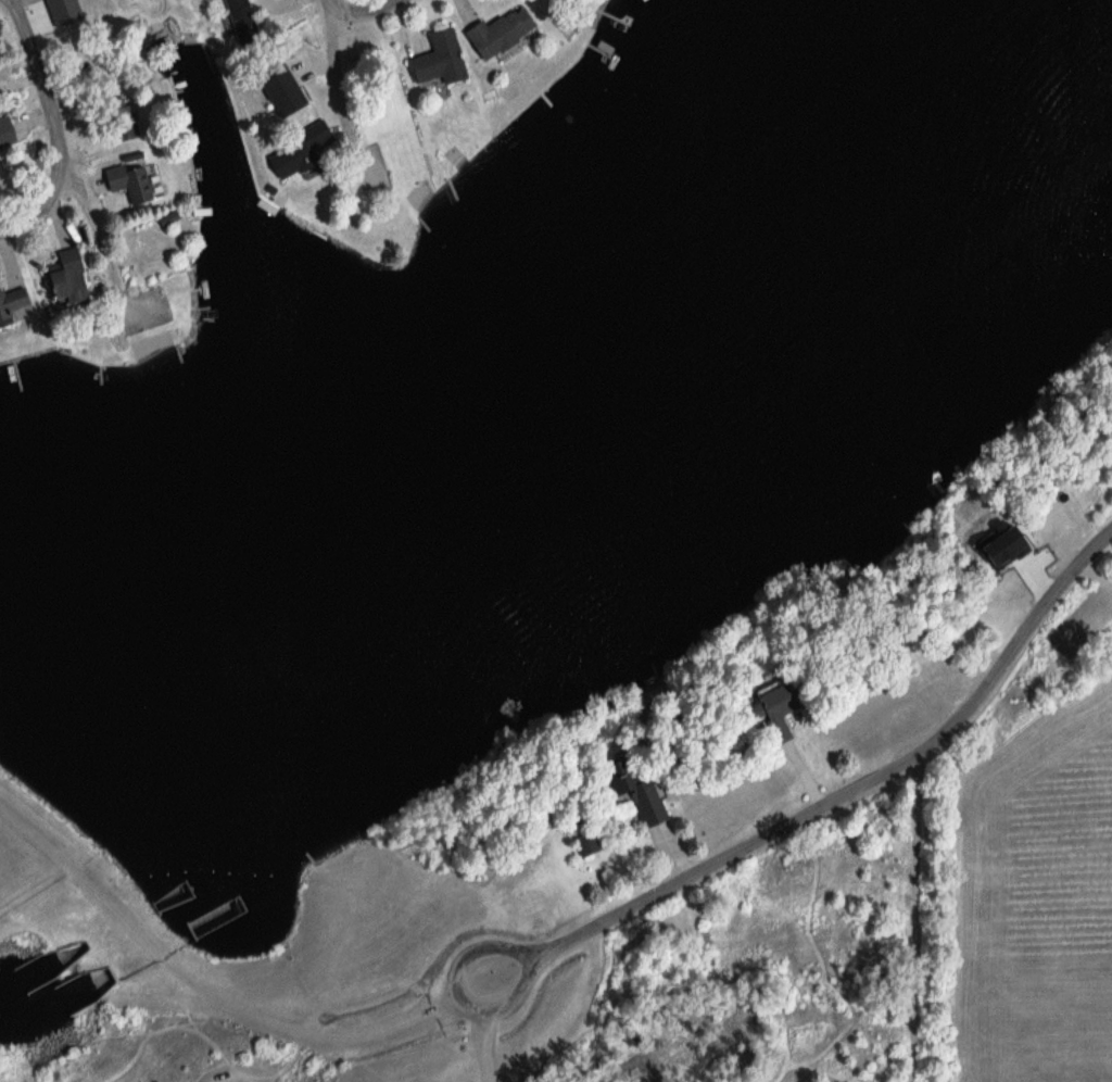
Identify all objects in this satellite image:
road: (363, 11)
building: (238, 18)
building: (495, 33)
building: (434, 60)
road: (340, 87)
building: (124, 122)
road: (51, 125)
building: (3, 135)
building: (292, 152)
building: (124, 180)
building: (60, 278)
building: (12, 302)
building: (764, 714)
building: (628, 791)
road: (831, 802)
building: (580, 844)
road: (913, 921)
dam: (118, 944)
river: (43, 970)
road: (213, 999)
river: (59, 1003)
road: (485, 1031)

